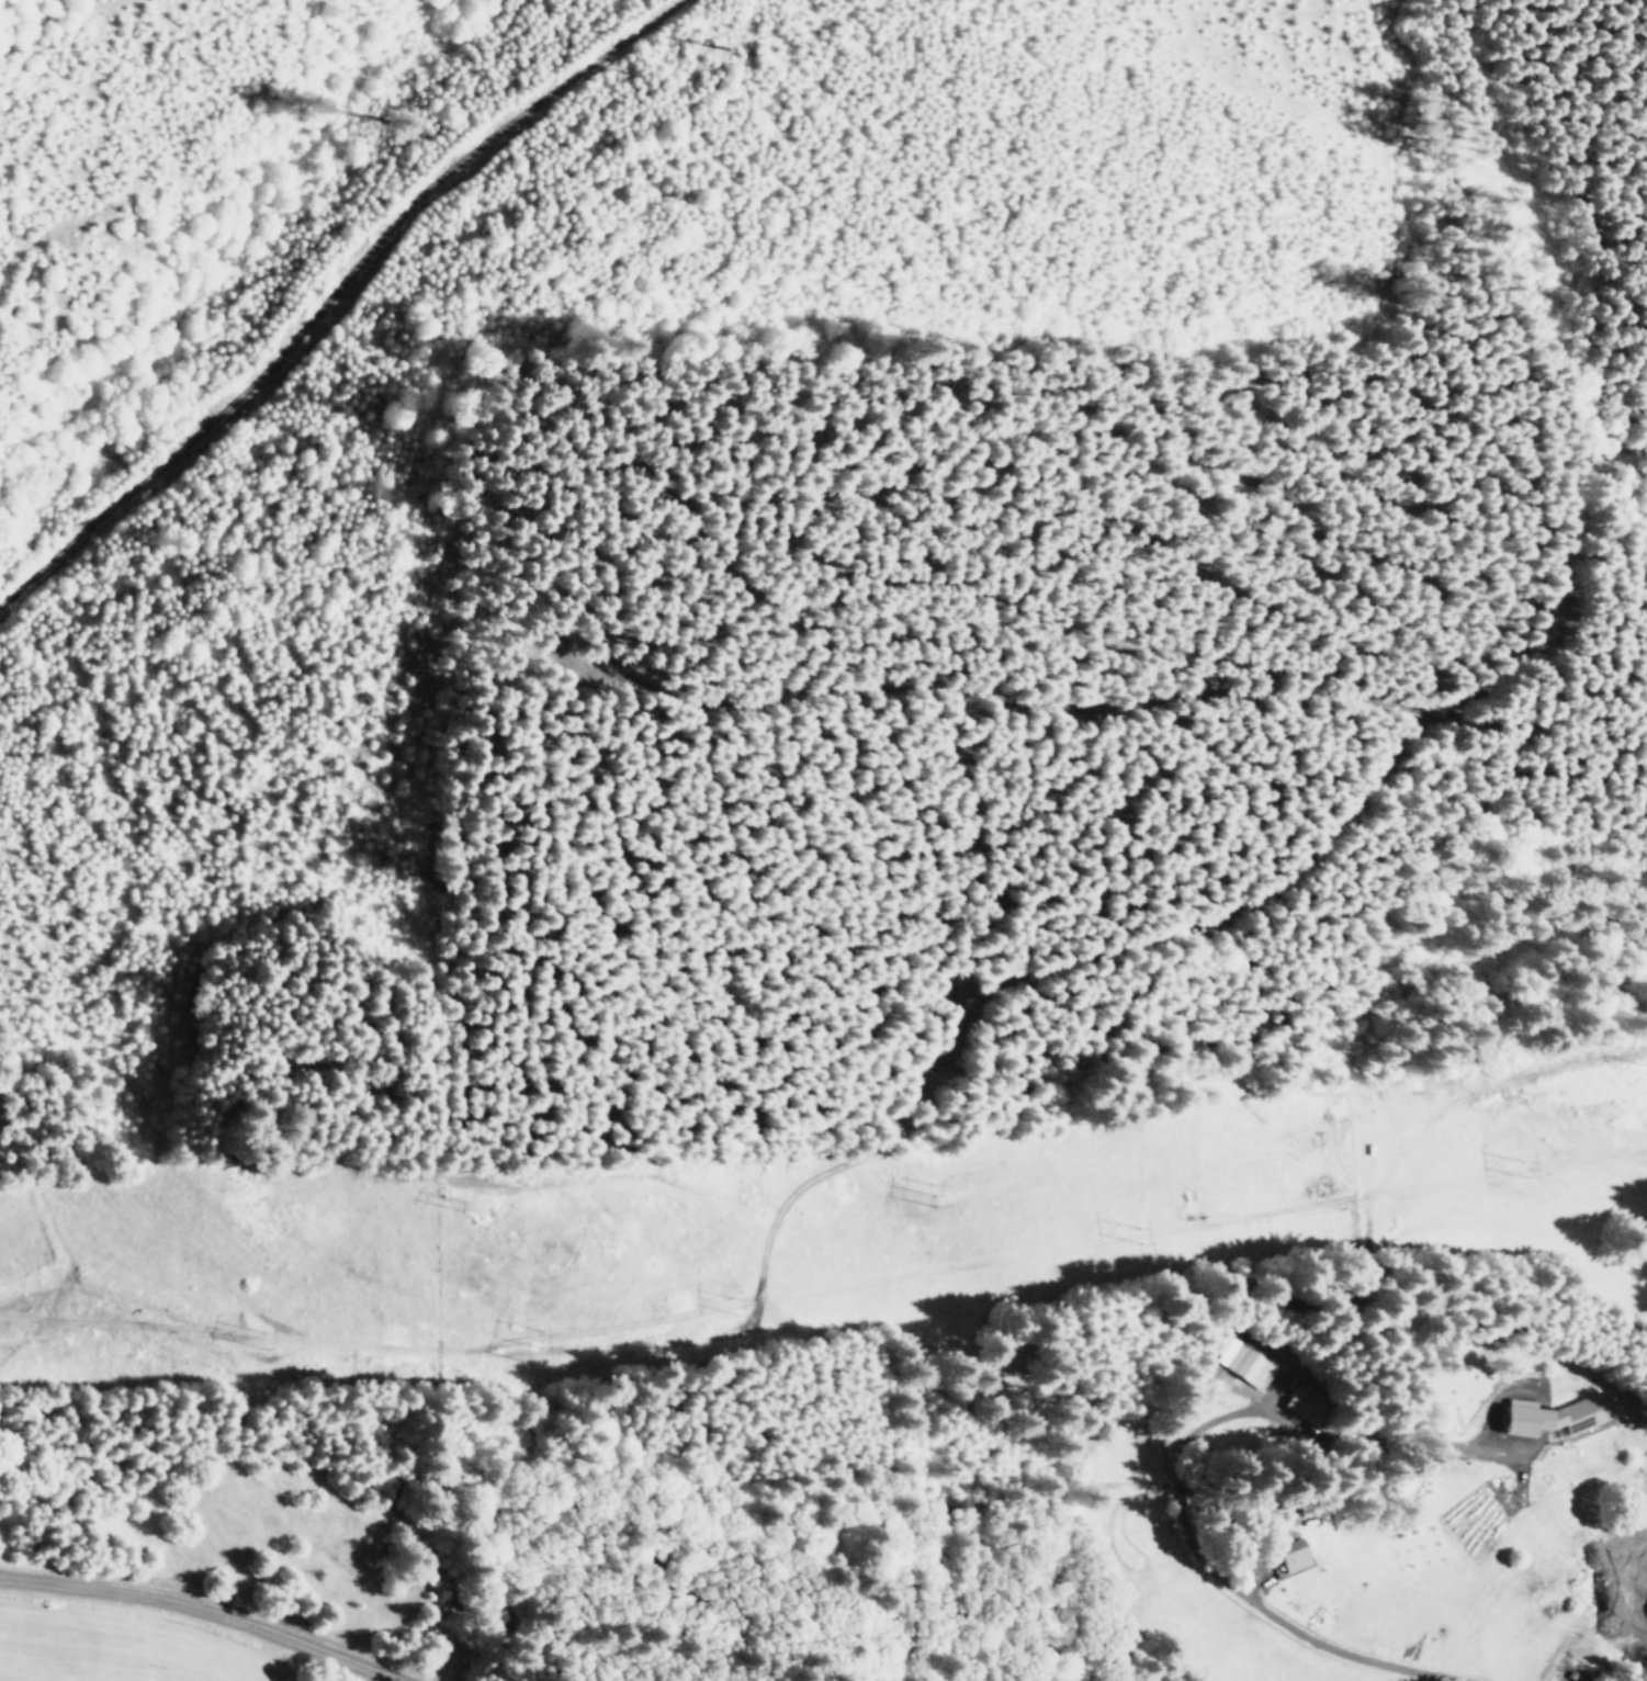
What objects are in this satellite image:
power tower: (1533, 1172)
power tower: (1146, 1239)
power tower: (737, 1307)
power tower: (542, 1341)
power tower: (270, 1343)
building: (1243, 1362)
building: (1307, 1403)
building: (1289, 1554)
road: (210, 1610)
road: (1335, 1647)

